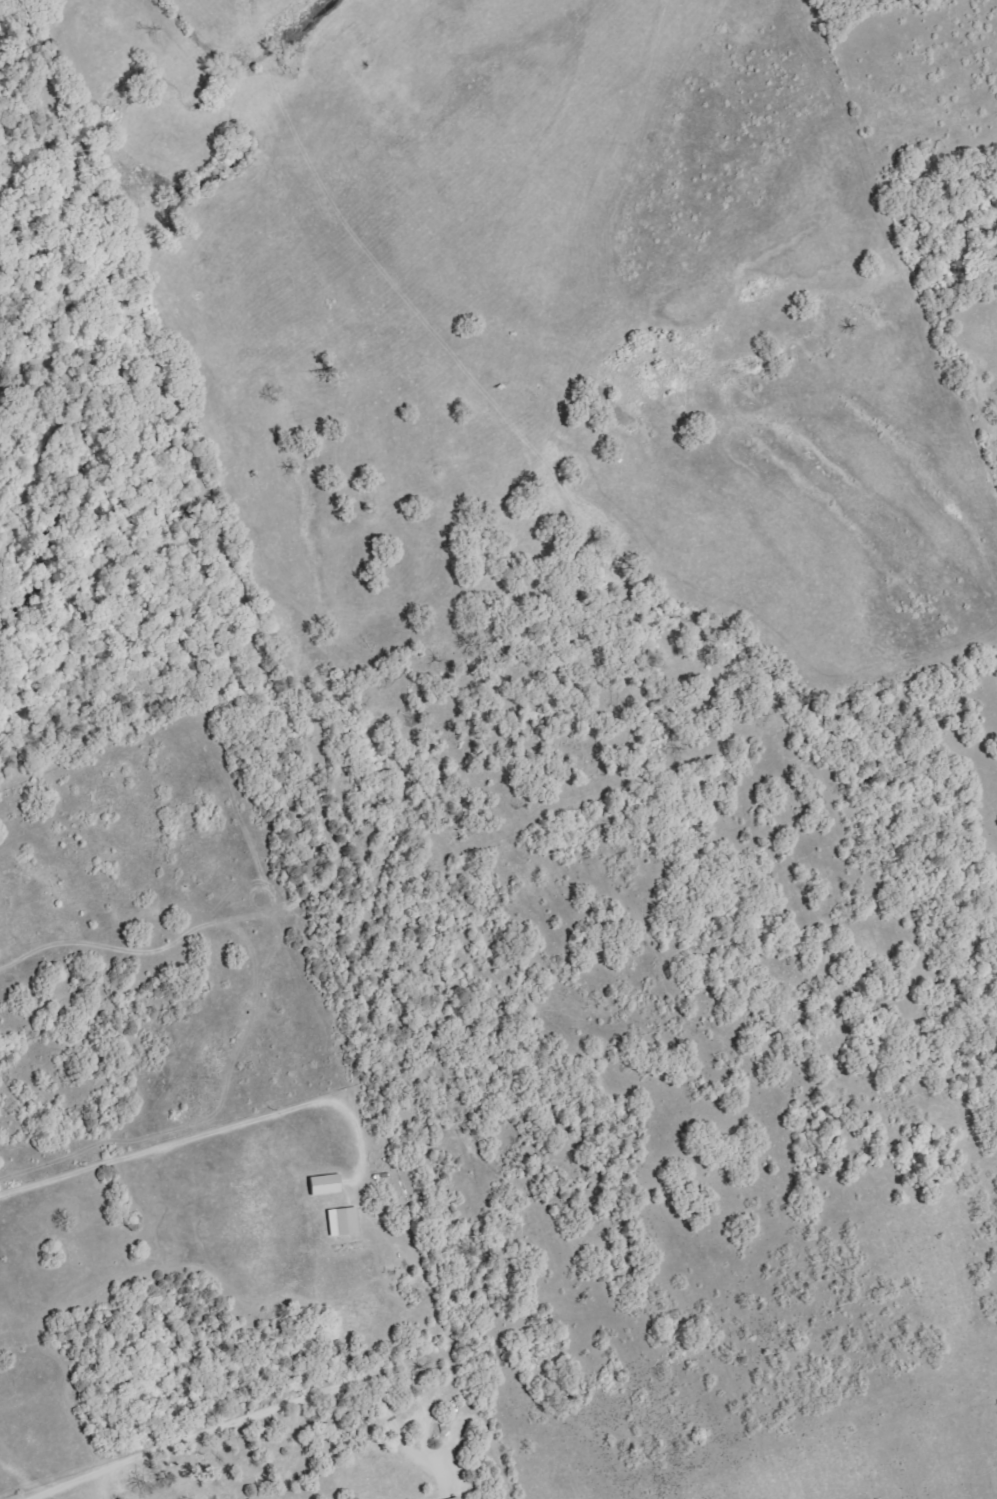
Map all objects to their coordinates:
road: (207, 1136)
building: (327, 1184)
building: (345, 1222)
building: (458, 1498)

